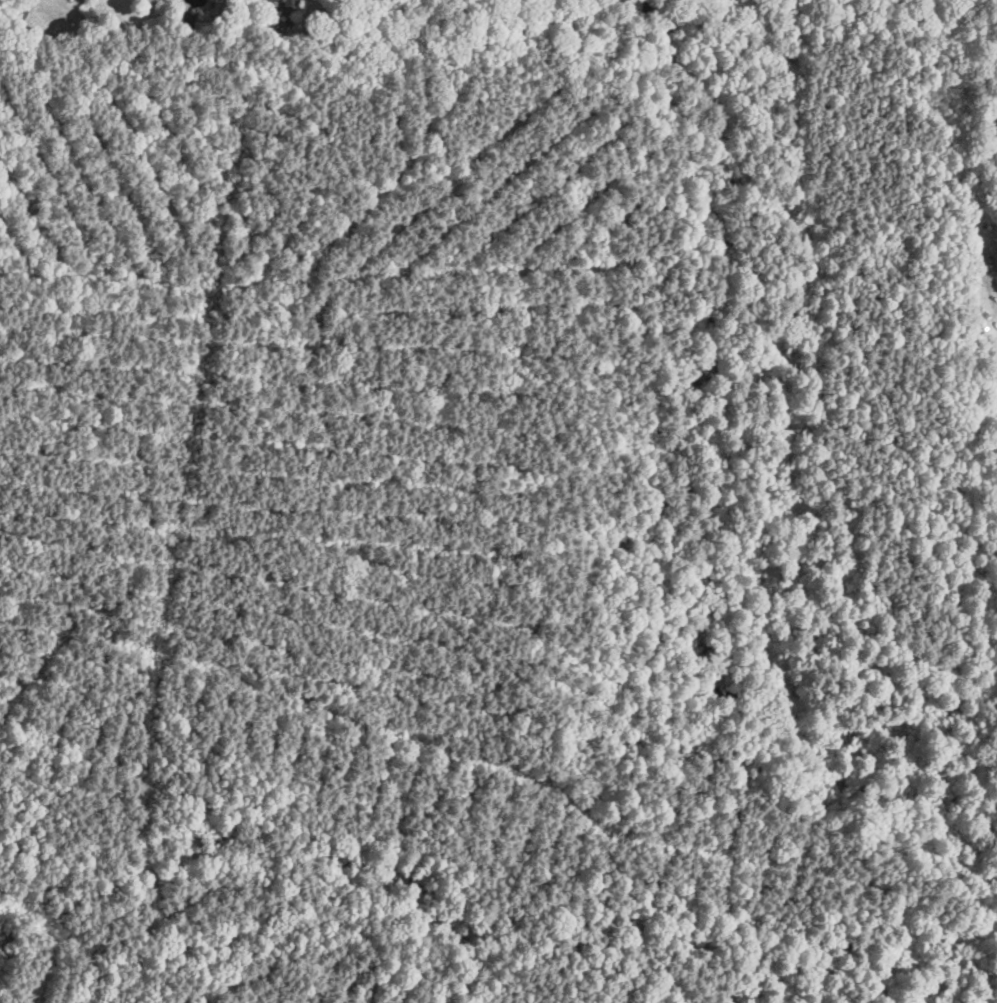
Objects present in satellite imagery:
building: (274, 0)

